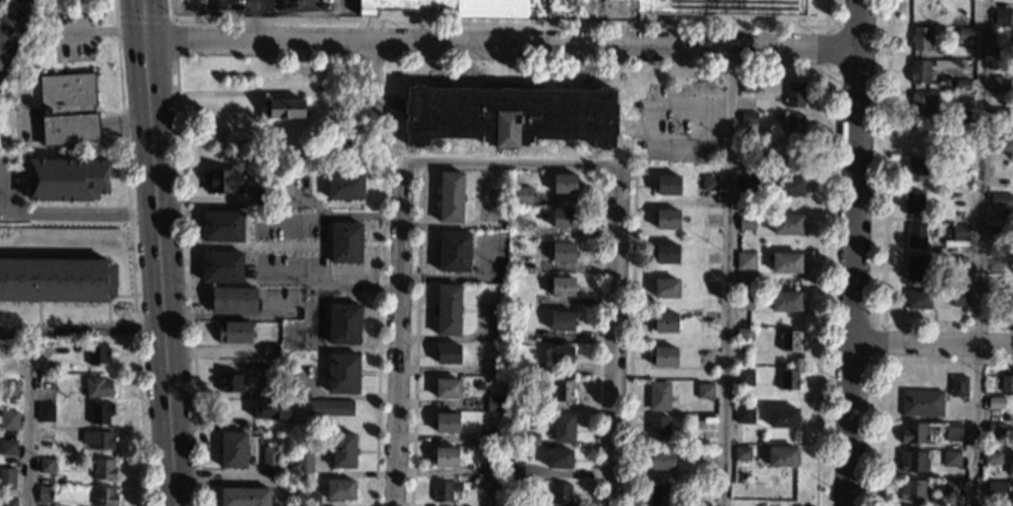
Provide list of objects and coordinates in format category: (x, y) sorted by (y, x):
building: (965, 2)
building: (583, 8)
building: (921, 8)
building: (1002, 17)
road: (142, 19)
road: (502, 22)
railway: (12, 26)
road: (836, 27)
road: (111, 30)
parking lot: (73, 31)
building: (965, 33)
building: (921, 38)
road: (172, 39)
road: (496, 45)
building: (999, 51)
flagpole: (104, 66)
building: (919, 71)
road: (371, 74)
building: (962, 84)
building: (999, 84)
building: (749, 86)
building: (795, 94)
building: (961, 97)
building: (923, 104)
building: (286, 108)
building: (68, 109)
building: (345, 110)
building: (510, 115)
building: (999, 115)
building: (749, 118)
building: (793, 124)
building: (1006, 143)
building: (792, 156)
road: (505, 164)
building: (959, 165)
building: (749, 166)
building: (1001, 167)
building: (916, 169)
road: (615, 176)
road: (981, 177)
building: (67, 179)
road: (399, 179)
building: (223, 180)
building: (709, 182)
building: (564, 183)
building: (667, 184)
building: (749, 185)
building: (344, 186)
building: (788, 186)
building: (523, 195)
building: (450, 197)
building: (264, 198)
building: (960, 199)
building: (913, 202)
building: (1000, 203)
road: (51, 213)
building: (563, 218)
building: (667, 219)
building: (746, 222)
building: (786, 224)
building: (222, 225)
building: (961, 231)
building: (996, 233)
building: (538, 234)
building: (917, 236)
building: (345, 243)
building: (537, 244)
building: (454, 251)
building: (563, 252)
road: (855, 252)
road: (128, 253)
road: (148, 253)
road: (171, 253)
building: (666, 253)
building: (745, 260)
building: (786, 262)
building: (513, 264)
building: (222, 266)
building: (957, 266)
building: (995, 266)
building: (915, 268)
road: (724, 277)
building: (56, 279)
road: (187, 283)
road: (819, 285)
building: (562, 286)
building: (666, 287)
building: (958, 297)
building: (918, 299)
building: (234, 300)
building: (511, 301)
building: (744, 301)
building: (785, 301)
building: (1010, 303)
building: (448, 309)
building: (561, 321)
building: (665, 322)
building: (344, 324)
road: (77, 329)
building: (233, 332)
building: (744, 334)
road: (377, 337)
building: (789, 340)
road: (594, 341)
road: (613, 341)
road: (395, 342)
road: (413, 342)
road: (628, 342)
building: (270, 351)
road: (933, 352)
building: (98, 353)
building: (448, 354)
building: (561, 355)
building: (664, 356)
building: (343, 373)
building: (744, 376)
building: (788, 379)
building: (46, 382)
building: (230, 383)
building: (1006, 383)
building: (958, 386)
road: (976, 386)
building: (97, 387)
building: (447, 388)
building: (9, 389)
building: (270, 390)
building: (563, 390)
building: (704, 390)
building: (659, 395)
building: (922, 402)
building: (996, 402)
building: (494, 403)
building: (537, 405)
building: (329, 407)
building: (272, 409)
building: (45, 412)
building: (100, 413)
building: (744, 414)
building: (995, 414)
building: (782, 417)
building: (8, 420)
building: (446, 422)
building: (704, 422)
building: (657, 425)
building: (563, 428)
building: (996, 429)
road: (28, 431)
building: (953, 432)
building: (914, 433)
building: (487, 435)
building: (98, 439)
building: (531, 440)
building: (8, 447)
building: (233, 450)
building: (342, 450)
building: (741, 453)
building: (782, 456)
building: (446, 457)
building: (558, 458)
building: (951, 458)
building: (993, 458)
building: (662, 459)
building: (270, 461)
building: (913, 461)
building: (303, 462)
road: (974, 462)
building: (1010, 464)
building: (46, 465)
building: (472, 468)
building: (103, 469)
building: (513, 470)
building: (7, 478)
building: (950, 485)
building: (494, 487)
building: (340, 489)
building: (445, 490)
building: (701, 490)
building: (912, 490)
building: (995, 490)
building: (561, 493)
building: (45, 494)
building: (661, 494)
building: (245, 496)
building: (785, 496)
building: (105, 497)
building: (311, 500)
building: (8, 502)
building: (741, 502)

